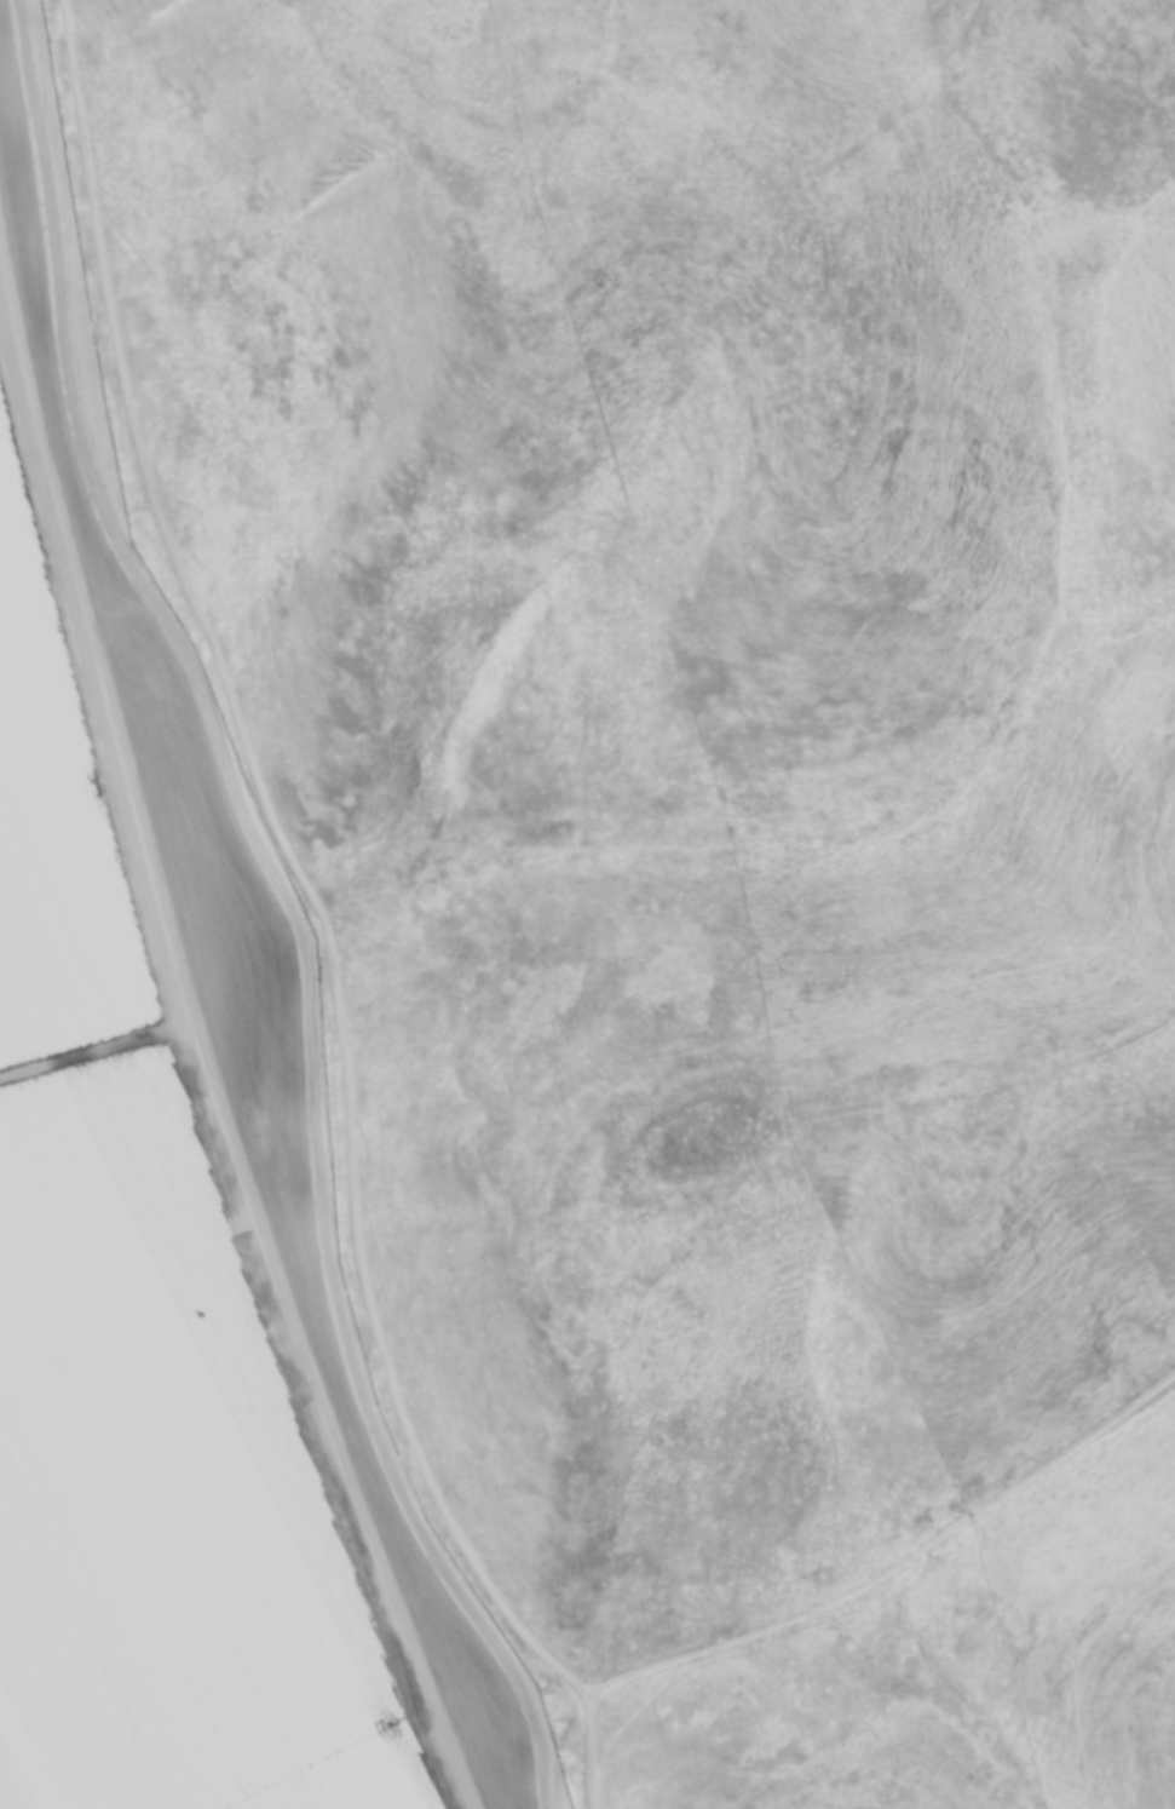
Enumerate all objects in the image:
road: (275, 920)
crop: (129, 1383)
road: (922, 1544)

